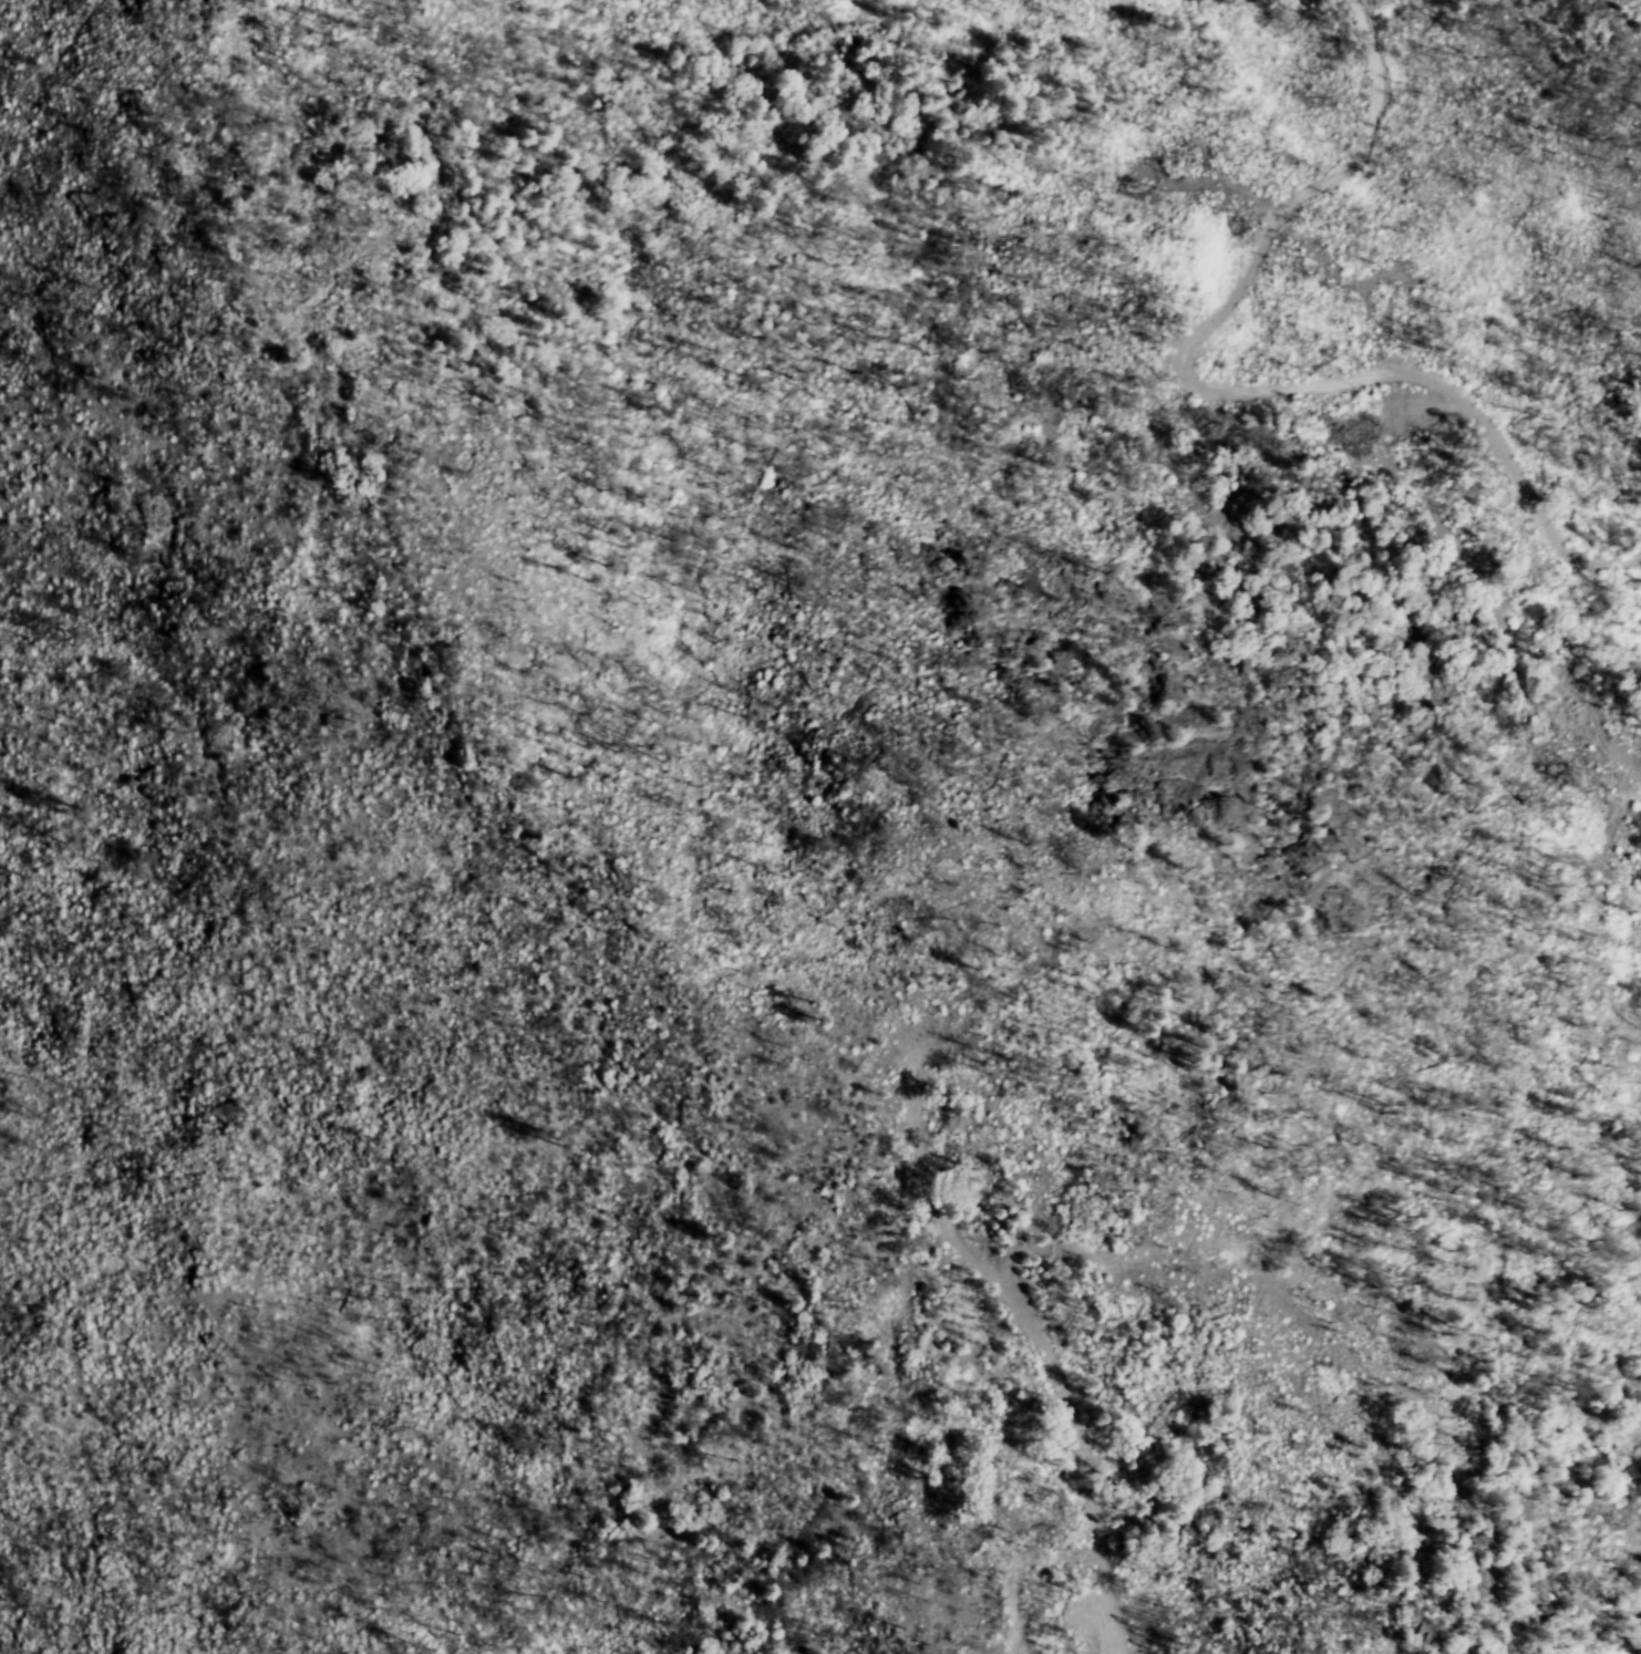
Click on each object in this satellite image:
road: (1251, 369)

